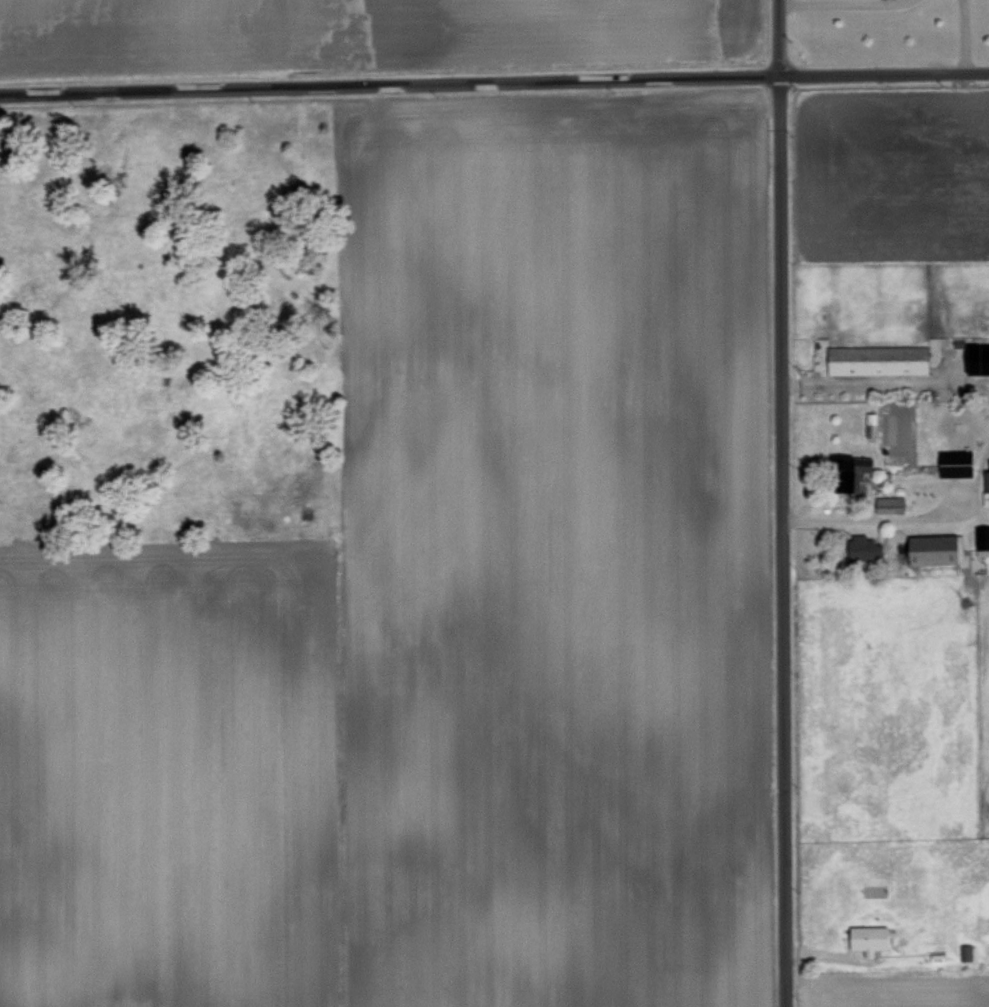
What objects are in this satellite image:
road: (855, 1)
road: (962, 36)
road: (494, 82)
building: (873, 359)
road: (869, 376)
building: (868, 423)
building: (986, 469)
building: (848, 475)
road: (779, 503)
building: (987, 508)
road: (917, 515)
building: (980, 536)
building: (856, 546)
building: (929, 549)
building: (864, 937)

